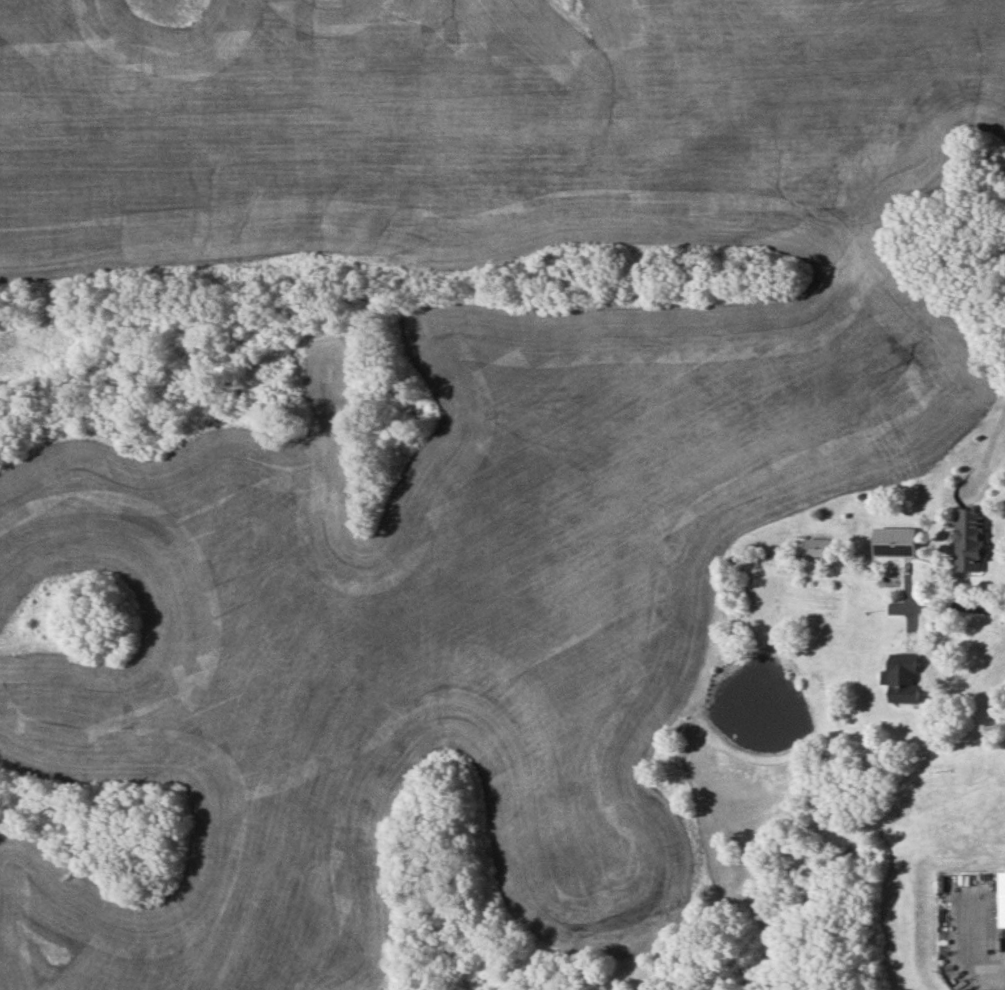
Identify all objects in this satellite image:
building: (970, 538)
building: (895, 541)
building: (819, 548)
road: (955, 605)
building: (904, 678)
building: (1002, 898)

